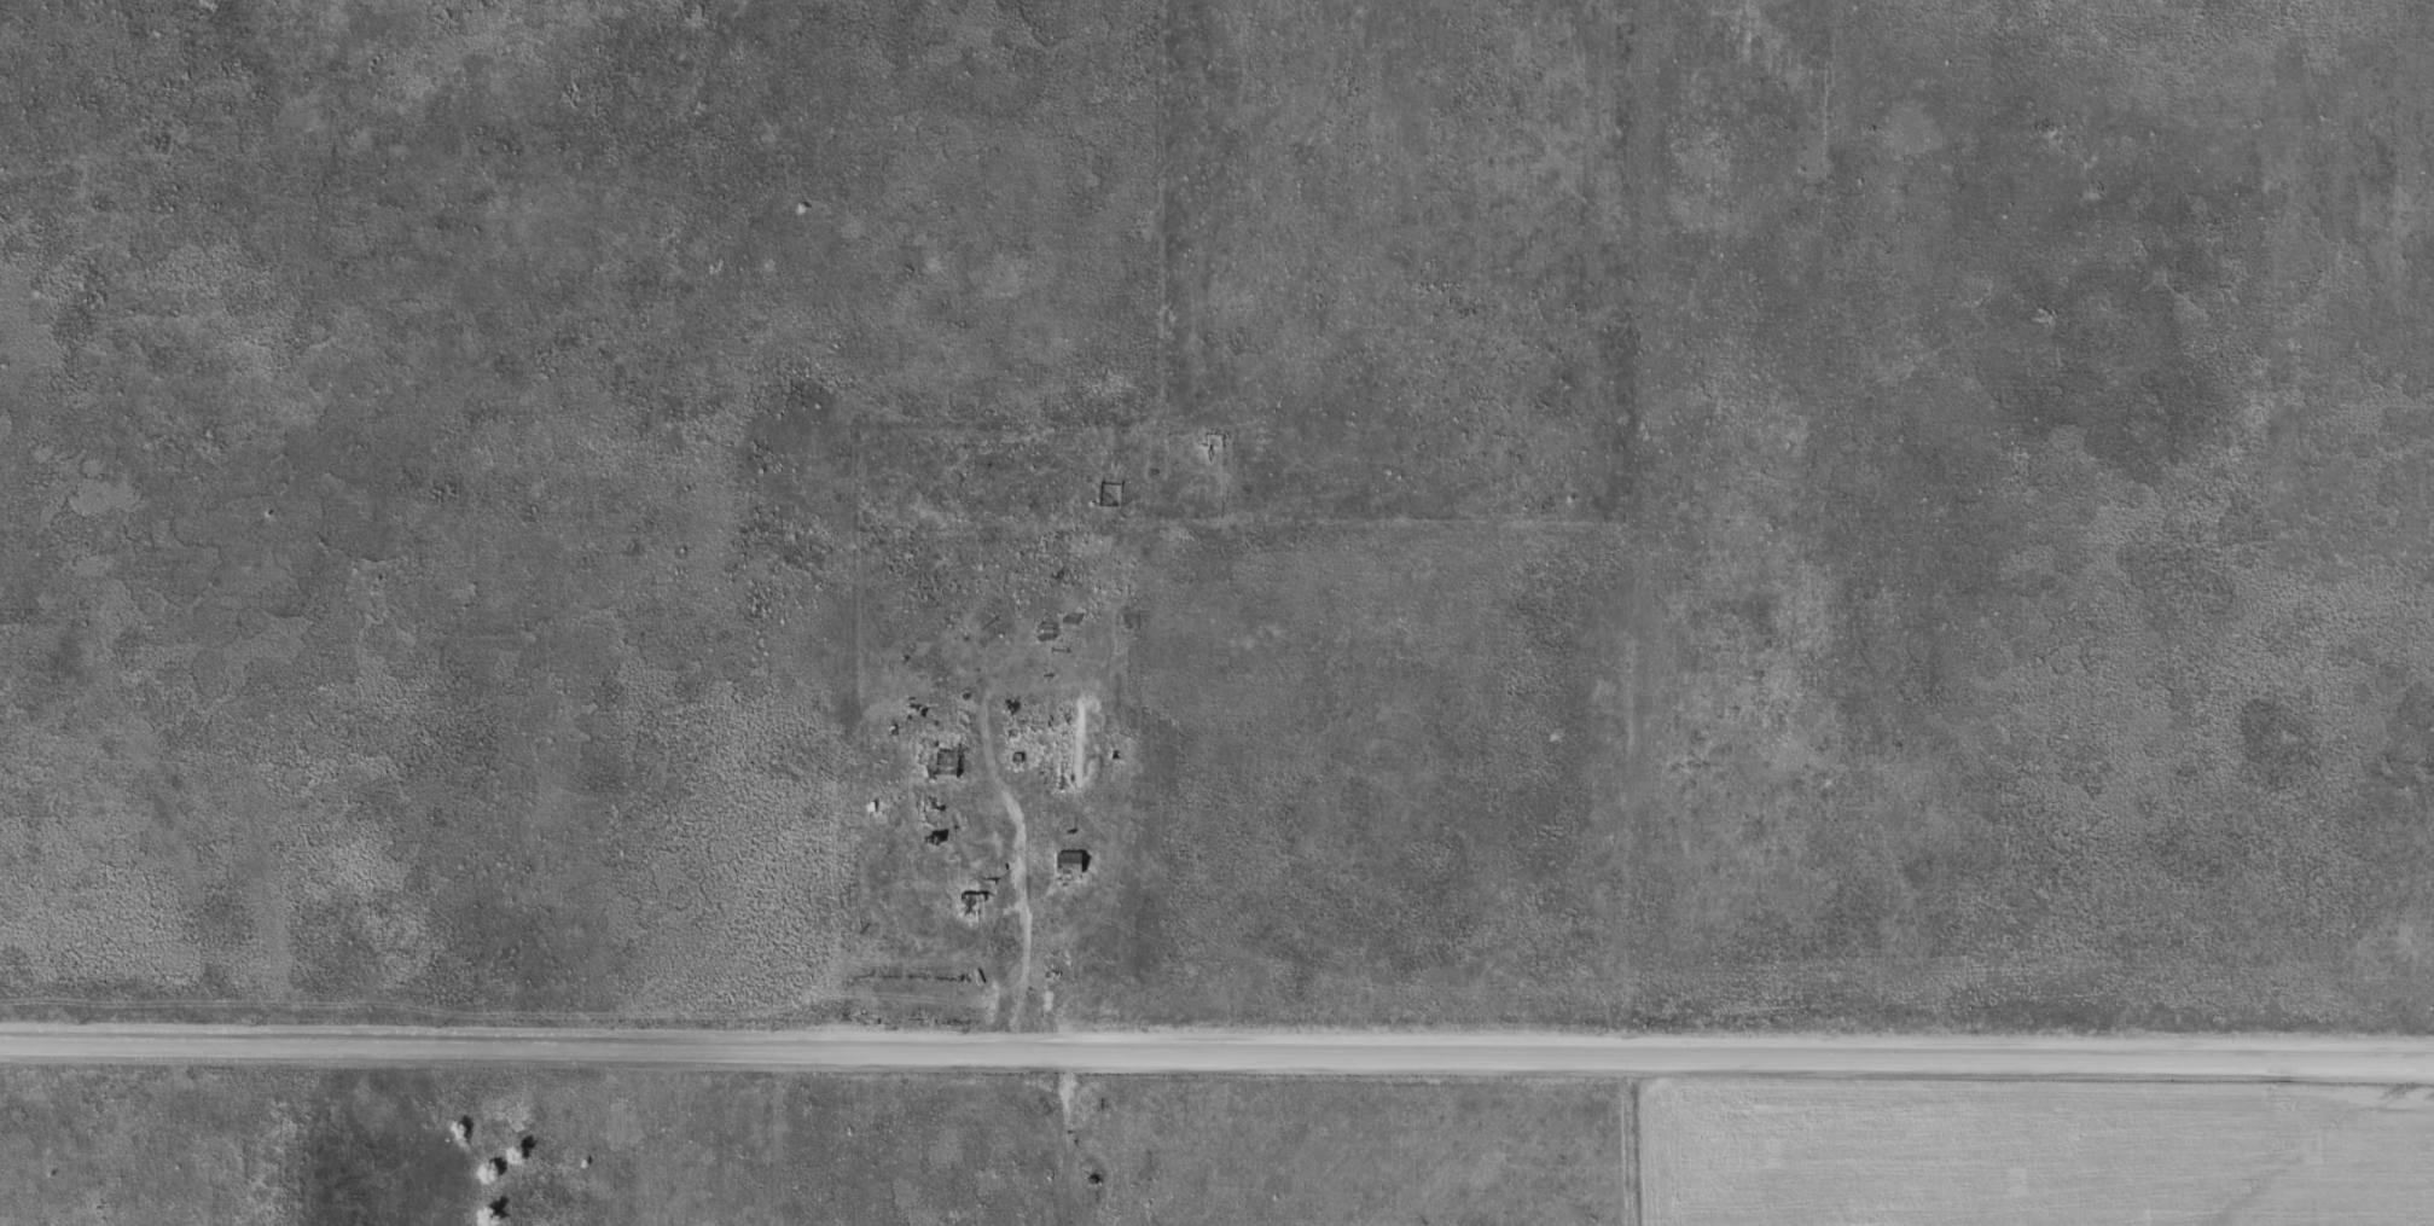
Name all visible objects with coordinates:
road: (1663, 528)
building: (1064, 865)
building: (965, 908)
road: (1216, 1053)

